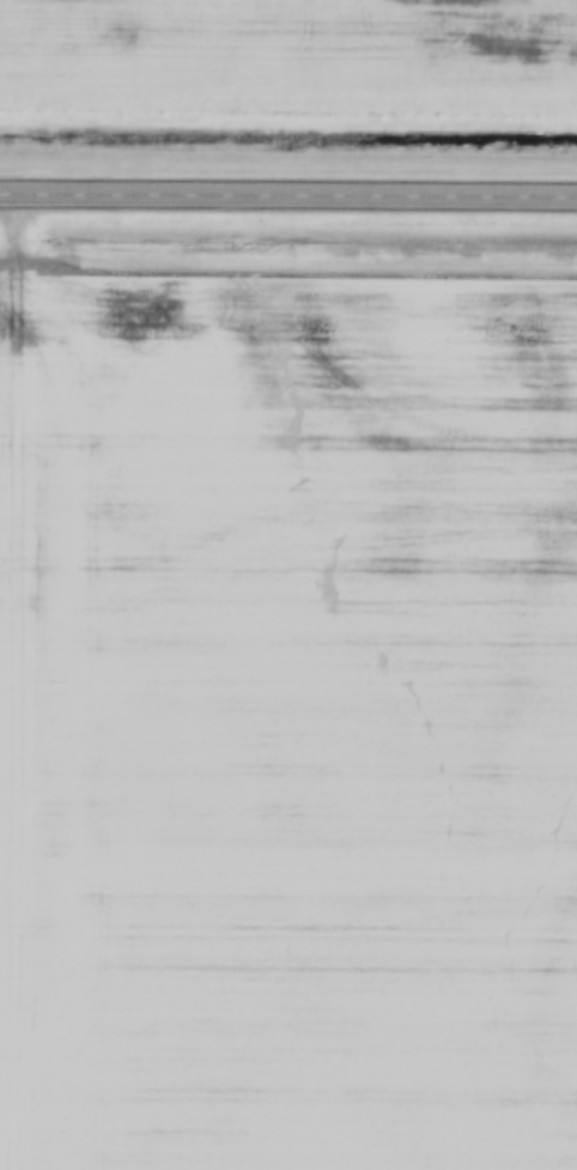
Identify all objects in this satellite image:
road: (288, 198)

